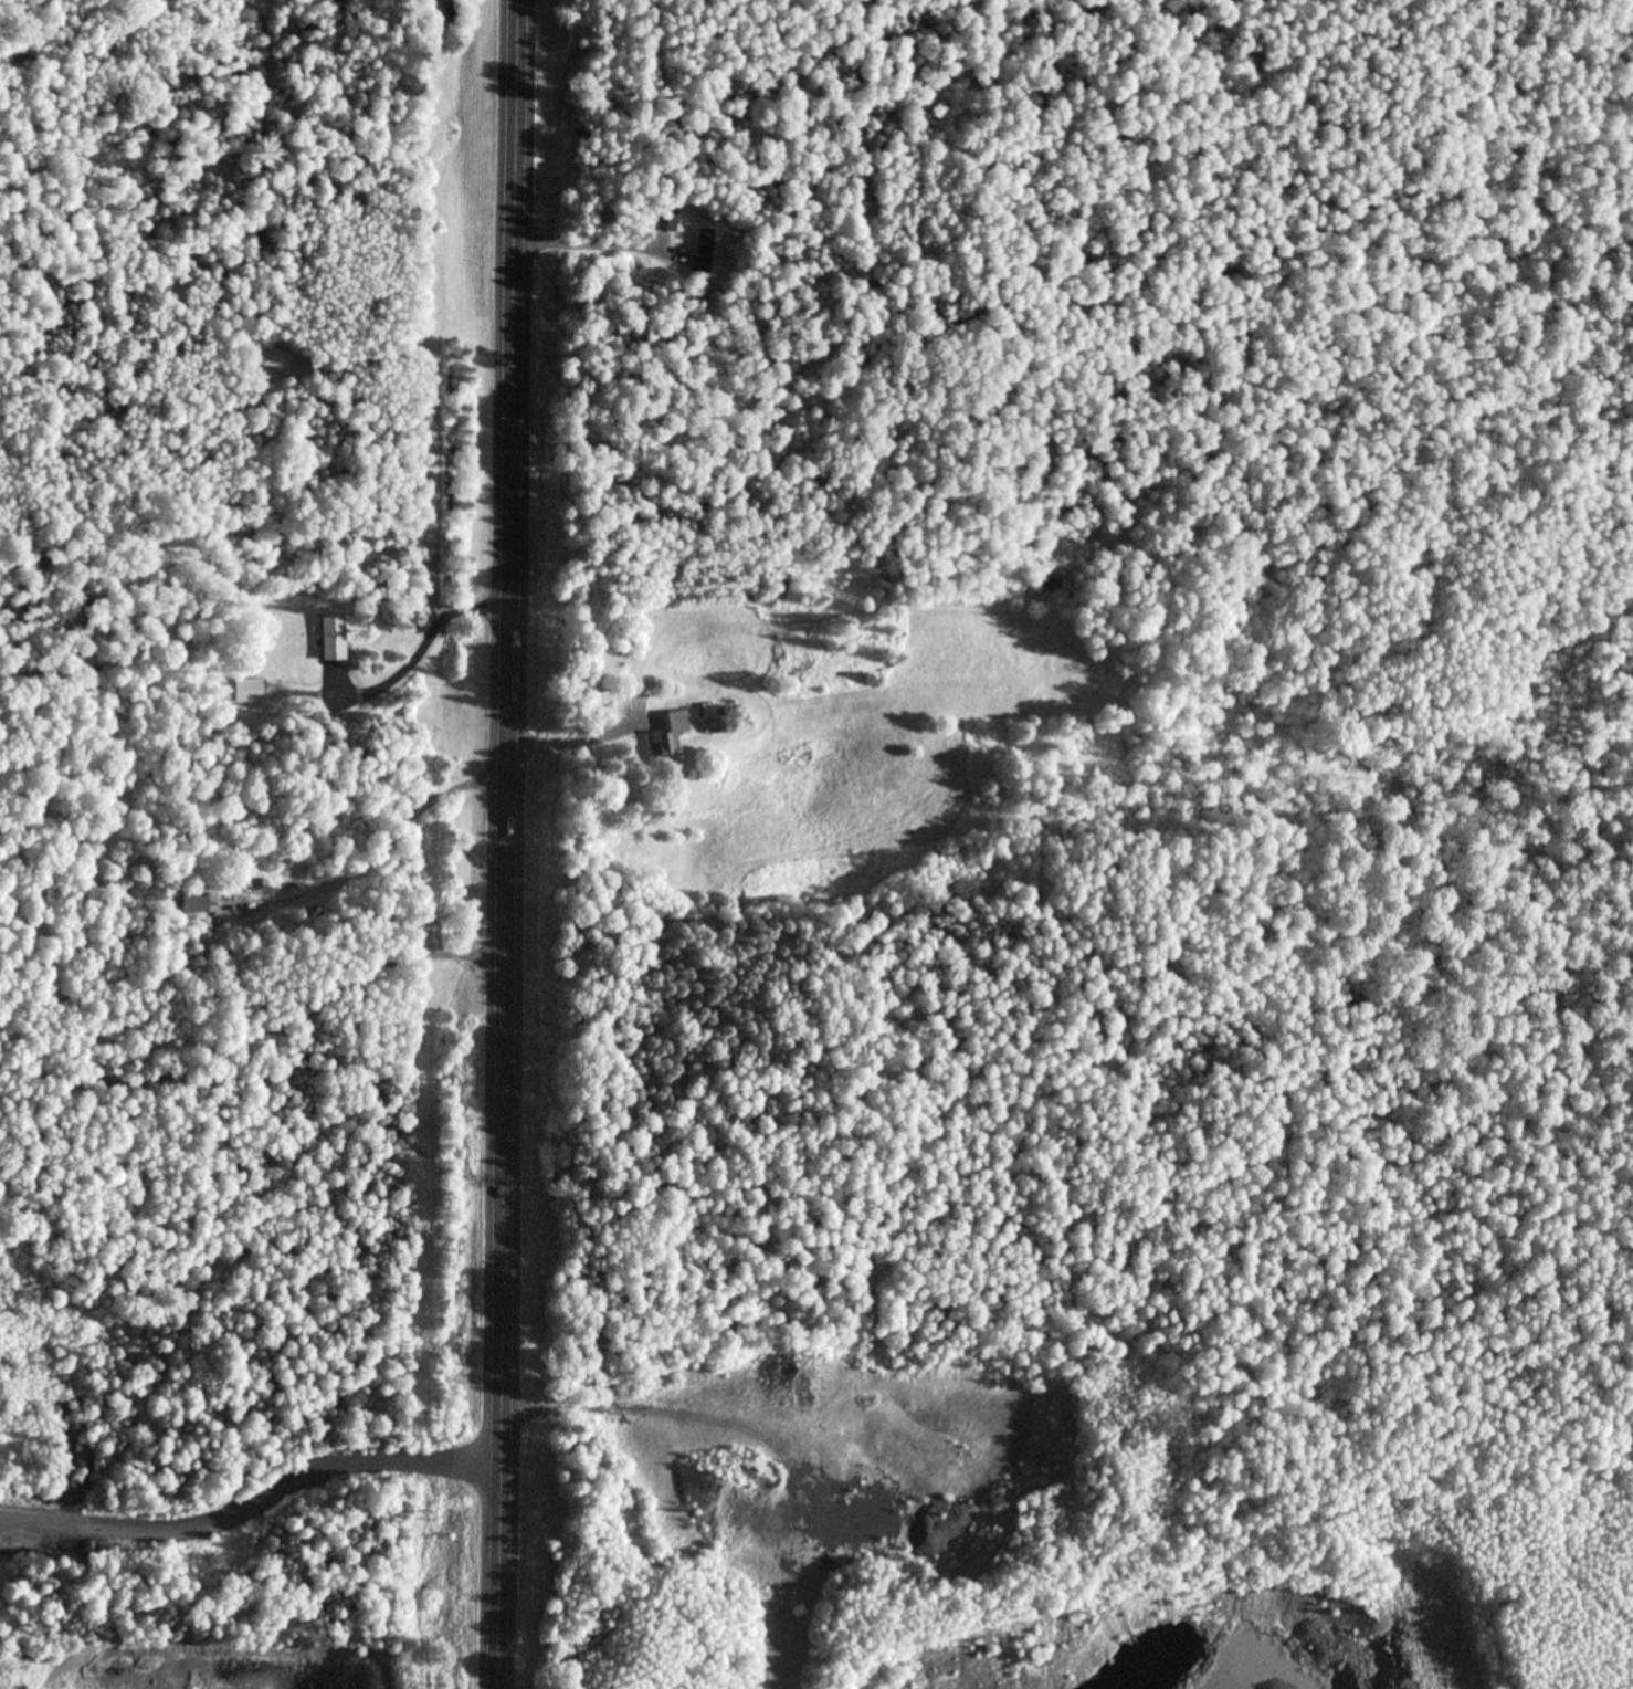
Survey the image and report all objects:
building: (665, 219)
building: (702, 250)
building: (333, 638)
building: (244, 690)
building: (671, 735)
road: (515, 844)
building: (238, 884)
building: (189, 902)
quarry: (853, 1455)
quarry: (38, 1493)
quarry: (1261, 1638)
quarry: (218, 1668)

